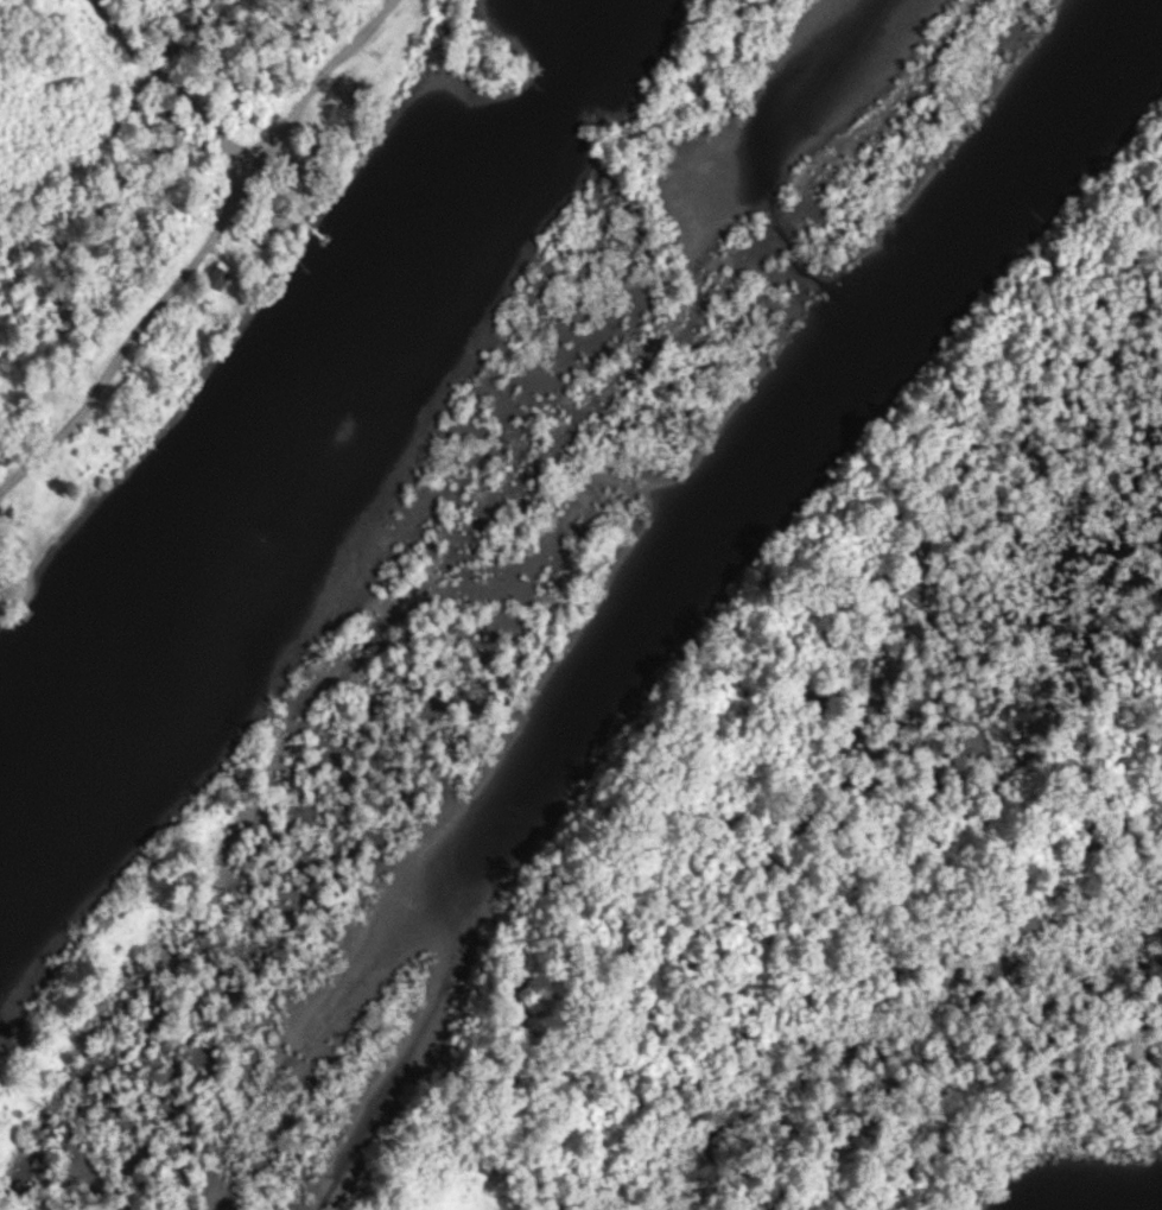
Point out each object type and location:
road: (309, 81)
building: (348, 87)
road: (216, 131)
building: (266, 194)
building: (216, 273)
building: (0, 574)

